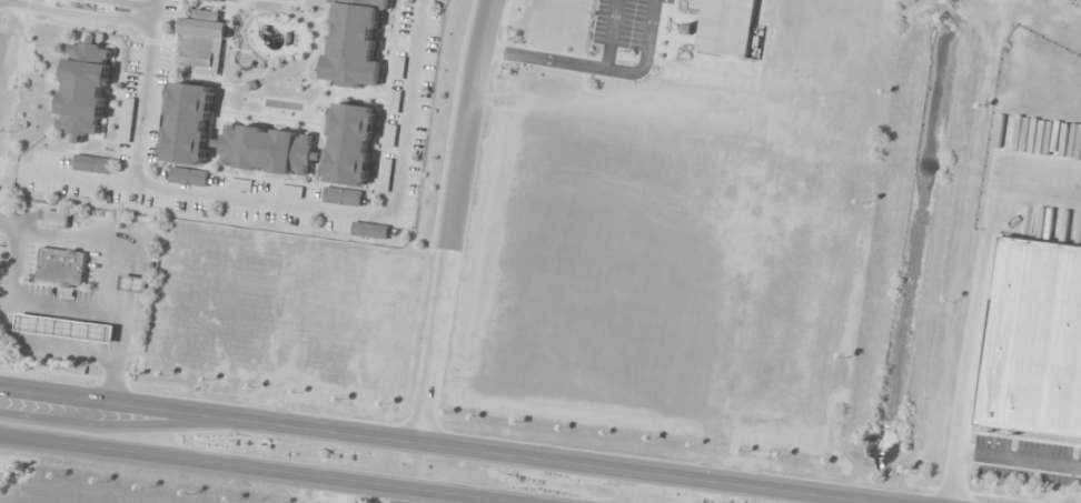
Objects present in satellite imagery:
building: (236, 0)
building: (411, 0)
road: (127, 4)
road: (157, 4)
road: (77, 16)
road: (156, 18)
building: (726, 27)
building: (202, 43)
building: (355, 43)
building: (86, 89)
road: (143, 105)
building: (126, 121)
building: (188, 123)
building: (350, 144)
building: (267, 150)
building: (92, 164)
building: (188, 178)
building: (239, 185)
building: (341, 198)
road: (300, 207)
building: (57, 219)
road: (449, 220)
building: (369, 231)
building: (61, 266)
building: (135, 284)
building: (66, 329)
building: (1035, 344)
road: (438, 444)
road: (258, 469)

